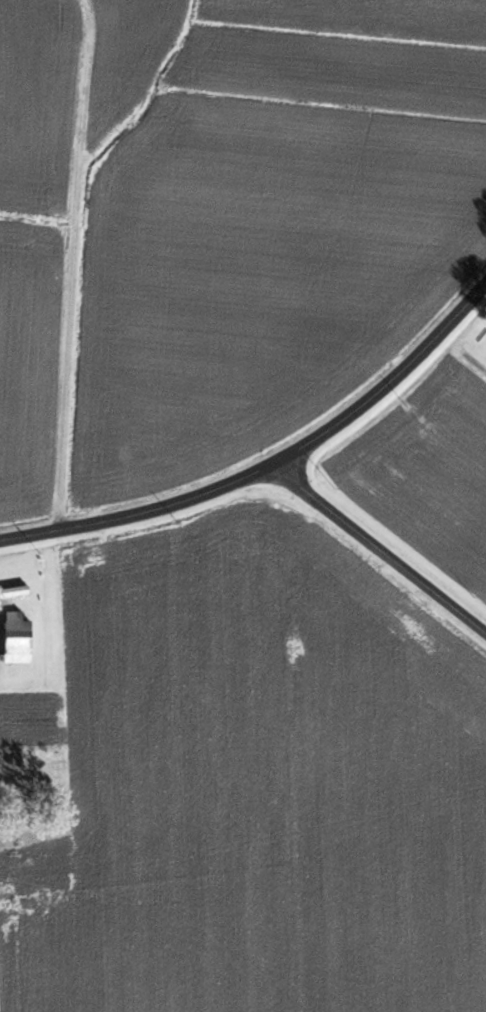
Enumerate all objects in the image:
road: (485, 277)
road: (271, 458)
road: (376, 546)
building: (14, 592)
building: (17, 637)

